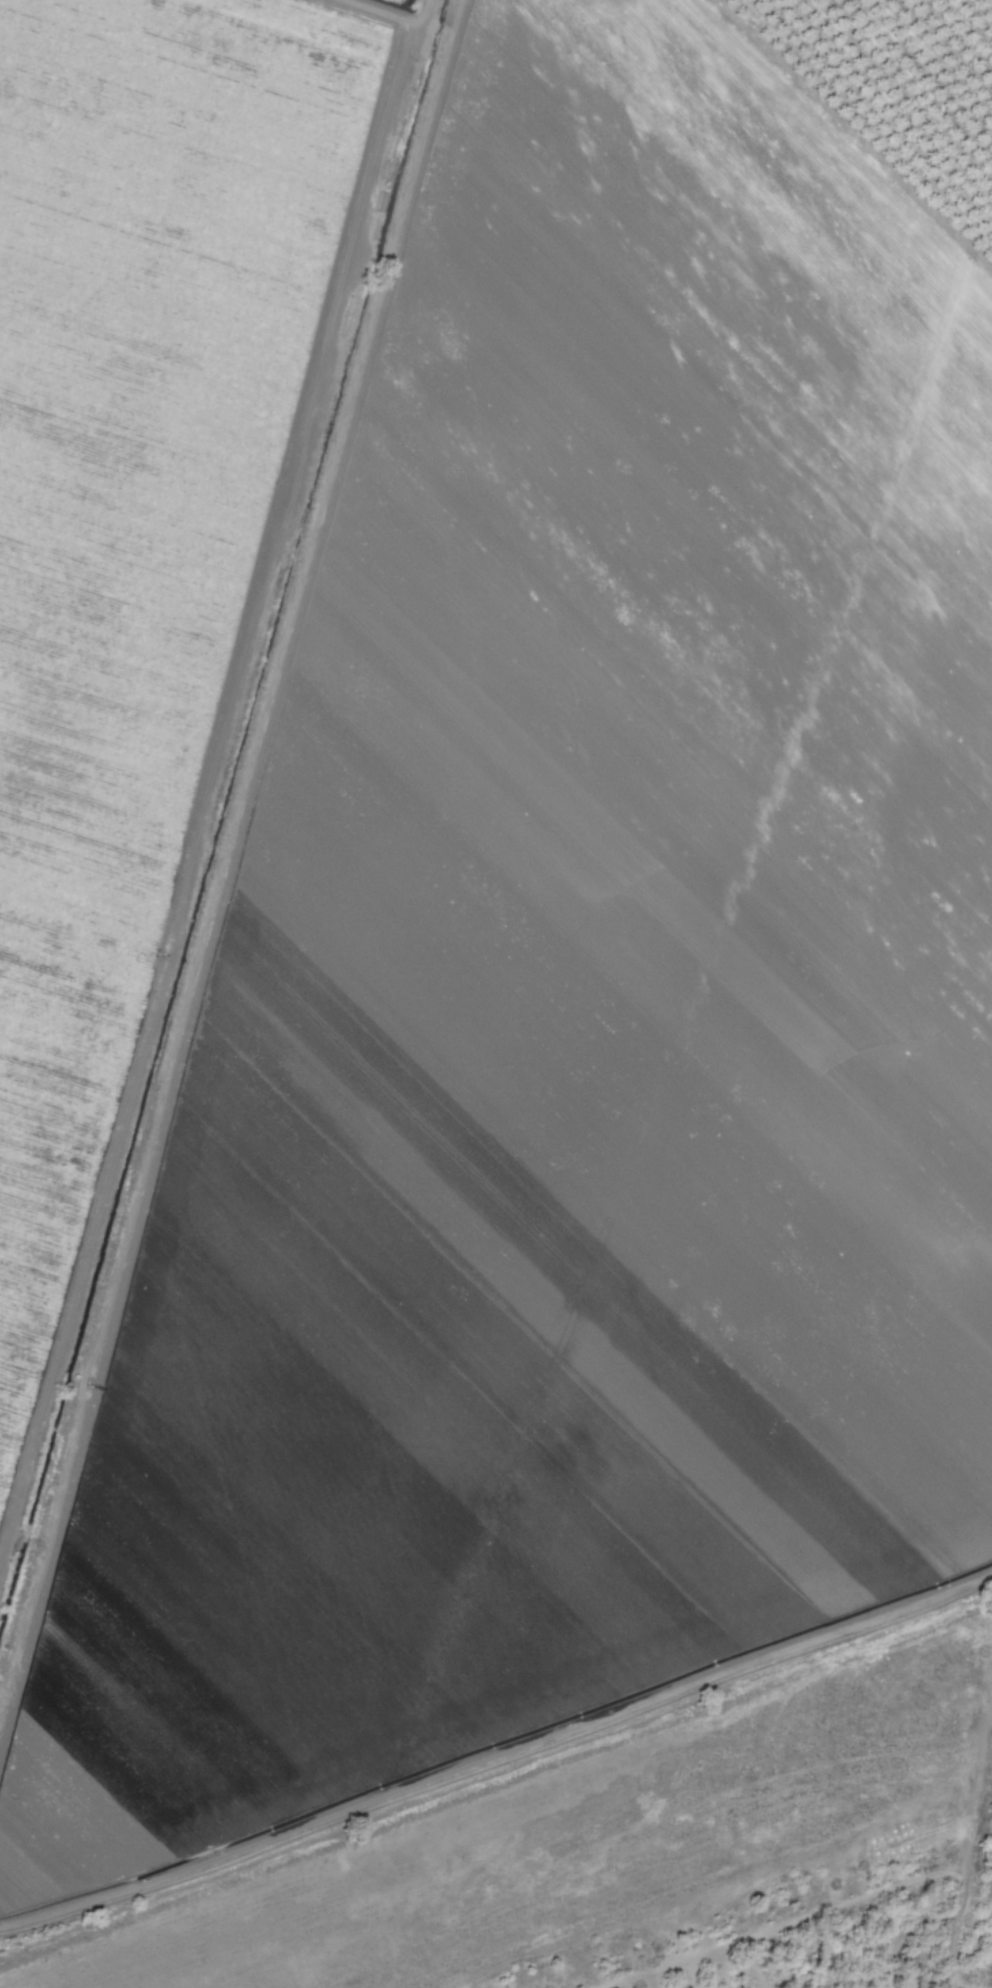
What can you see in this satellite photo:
crop: (478, 874)
road: (843, 1911)

